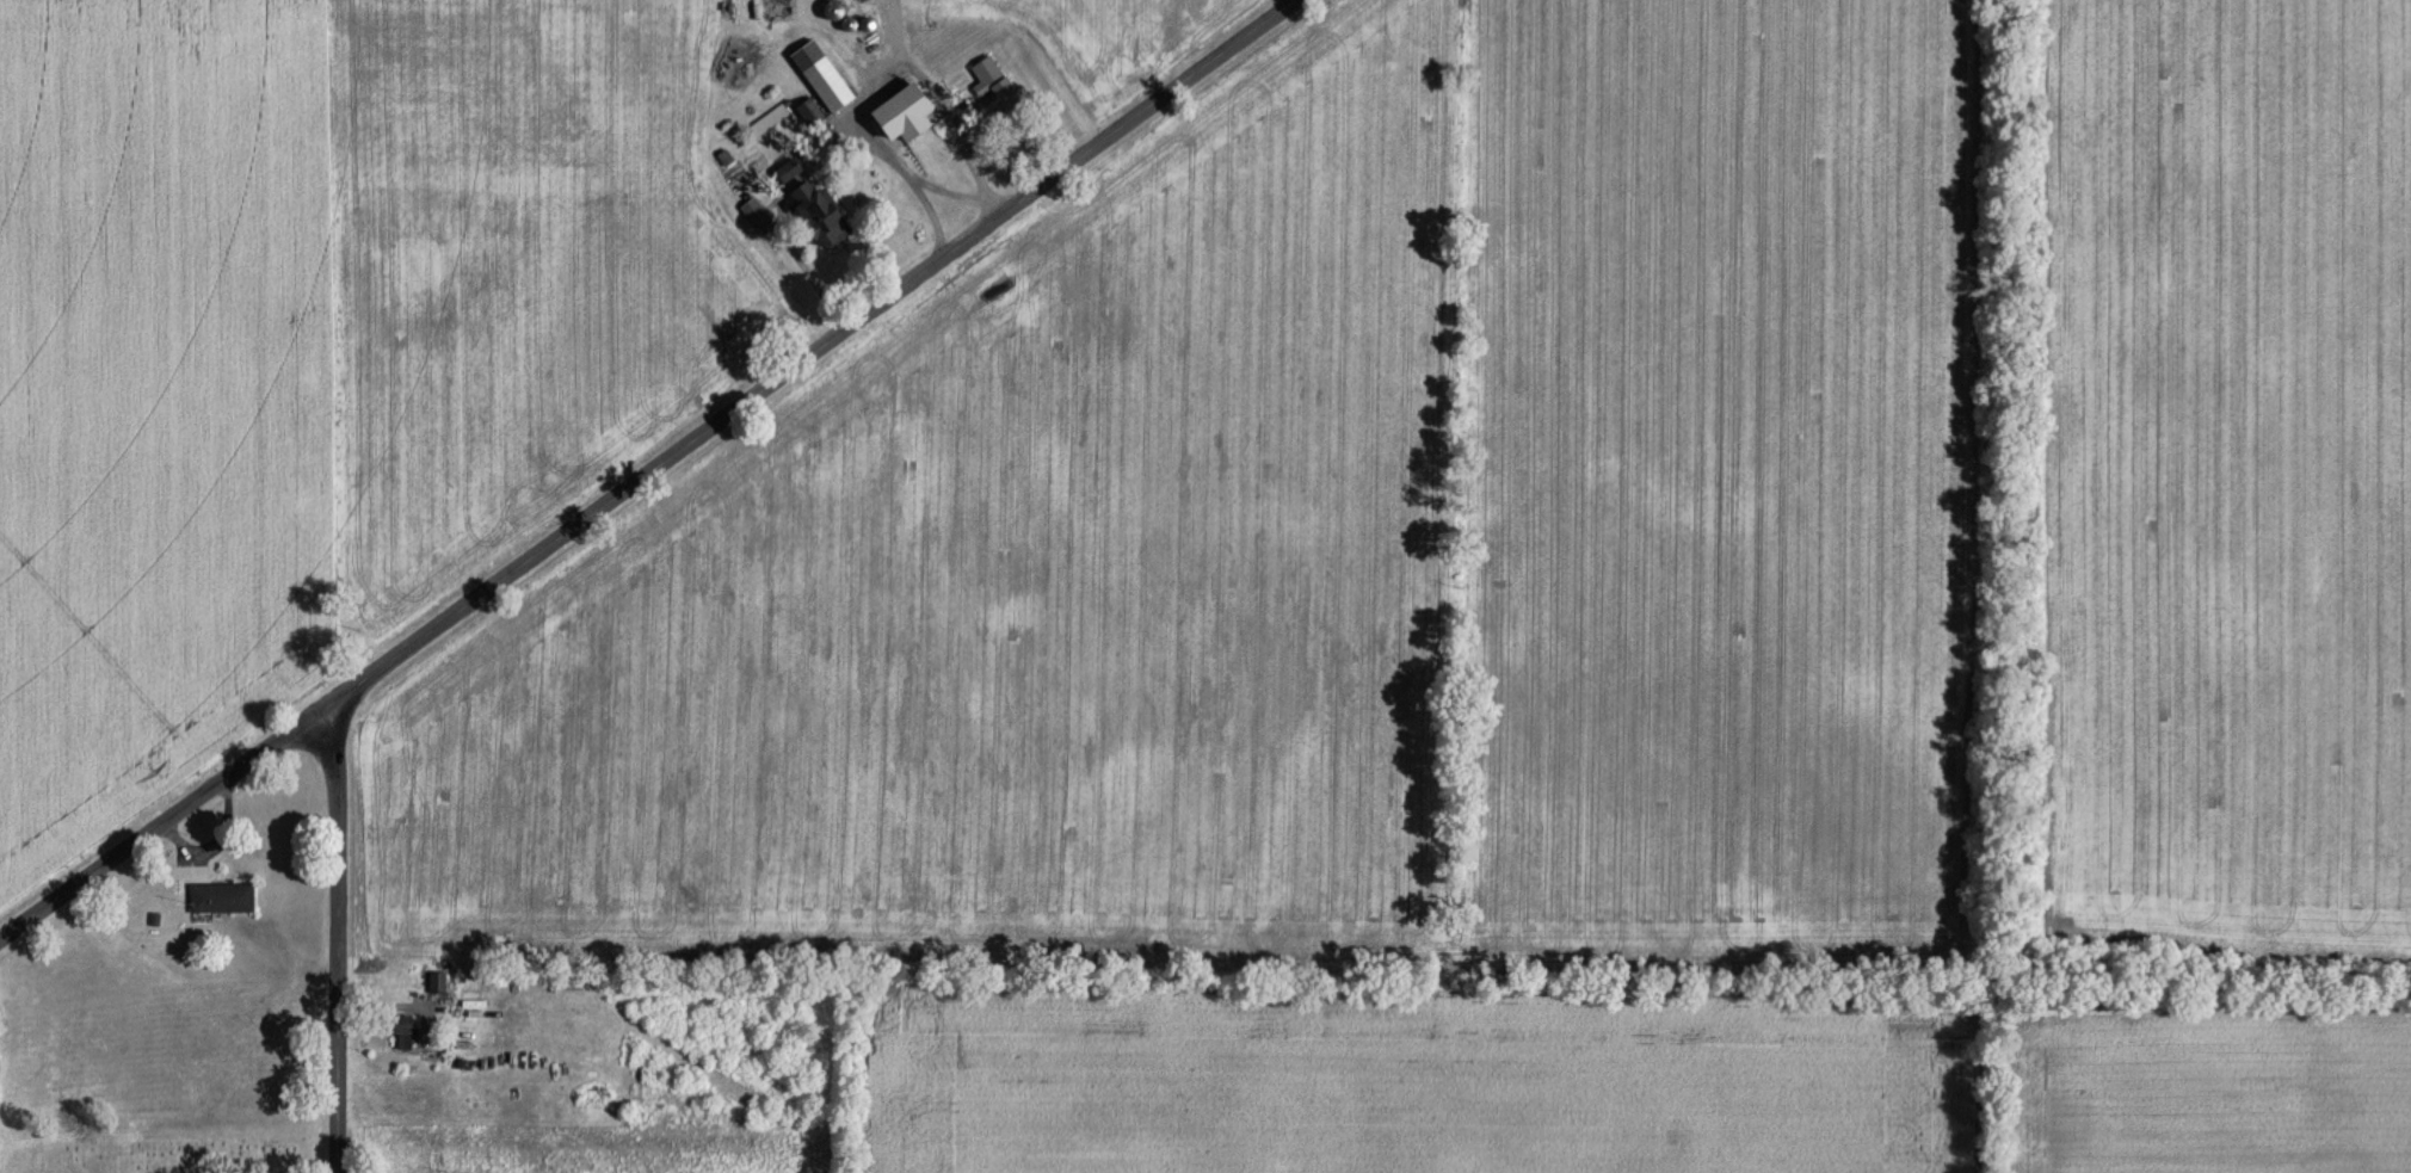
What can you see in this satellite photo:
building: (830, 84)
road: (886, 85)
building: (994, 86)
building: (908, 113)
building: (769, 121)
road: (946, 191)
building: (825, 215)
road: (783, 217)
road: (648, 471)
building: (224, 897)
road: (337, 936)
building: (438, 982)
building: (406, 1031)
park: (214, 1153)

